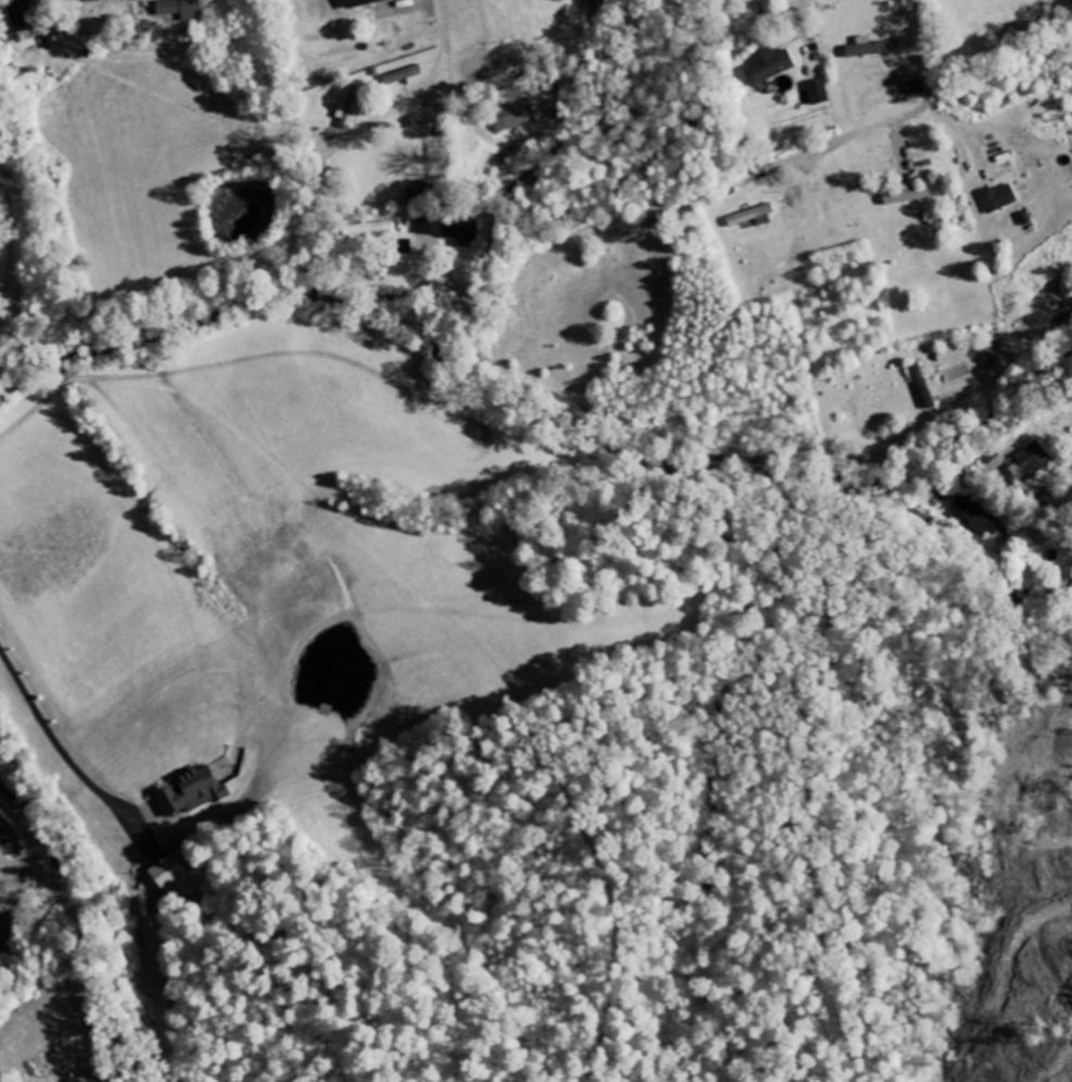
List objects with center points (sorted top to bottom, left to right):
building: (80, 1)
building: (364, 3)
road: (405, 5)
building: (182, 10)
road: (819, 15)
road: (988, 18)
building: (872, 48)
building: (769, 66)
building: (404, 77)
building: (917, 88)
road: (416, 92)
building: (818, 93)
building: (349, 110)
building: (512, 118)
road: (526, 183)
building: (430, 189)
building: (916, 197)
building: (998, 199)
building: (752, 218)
building: (452, 230)
building: (445, 295)
building: (923, 388)
road: (691, 452)
building: (1032, 462)
building: (980, 521)
building: (192, 792)
building: (7, 834)
building: (168, 872)

